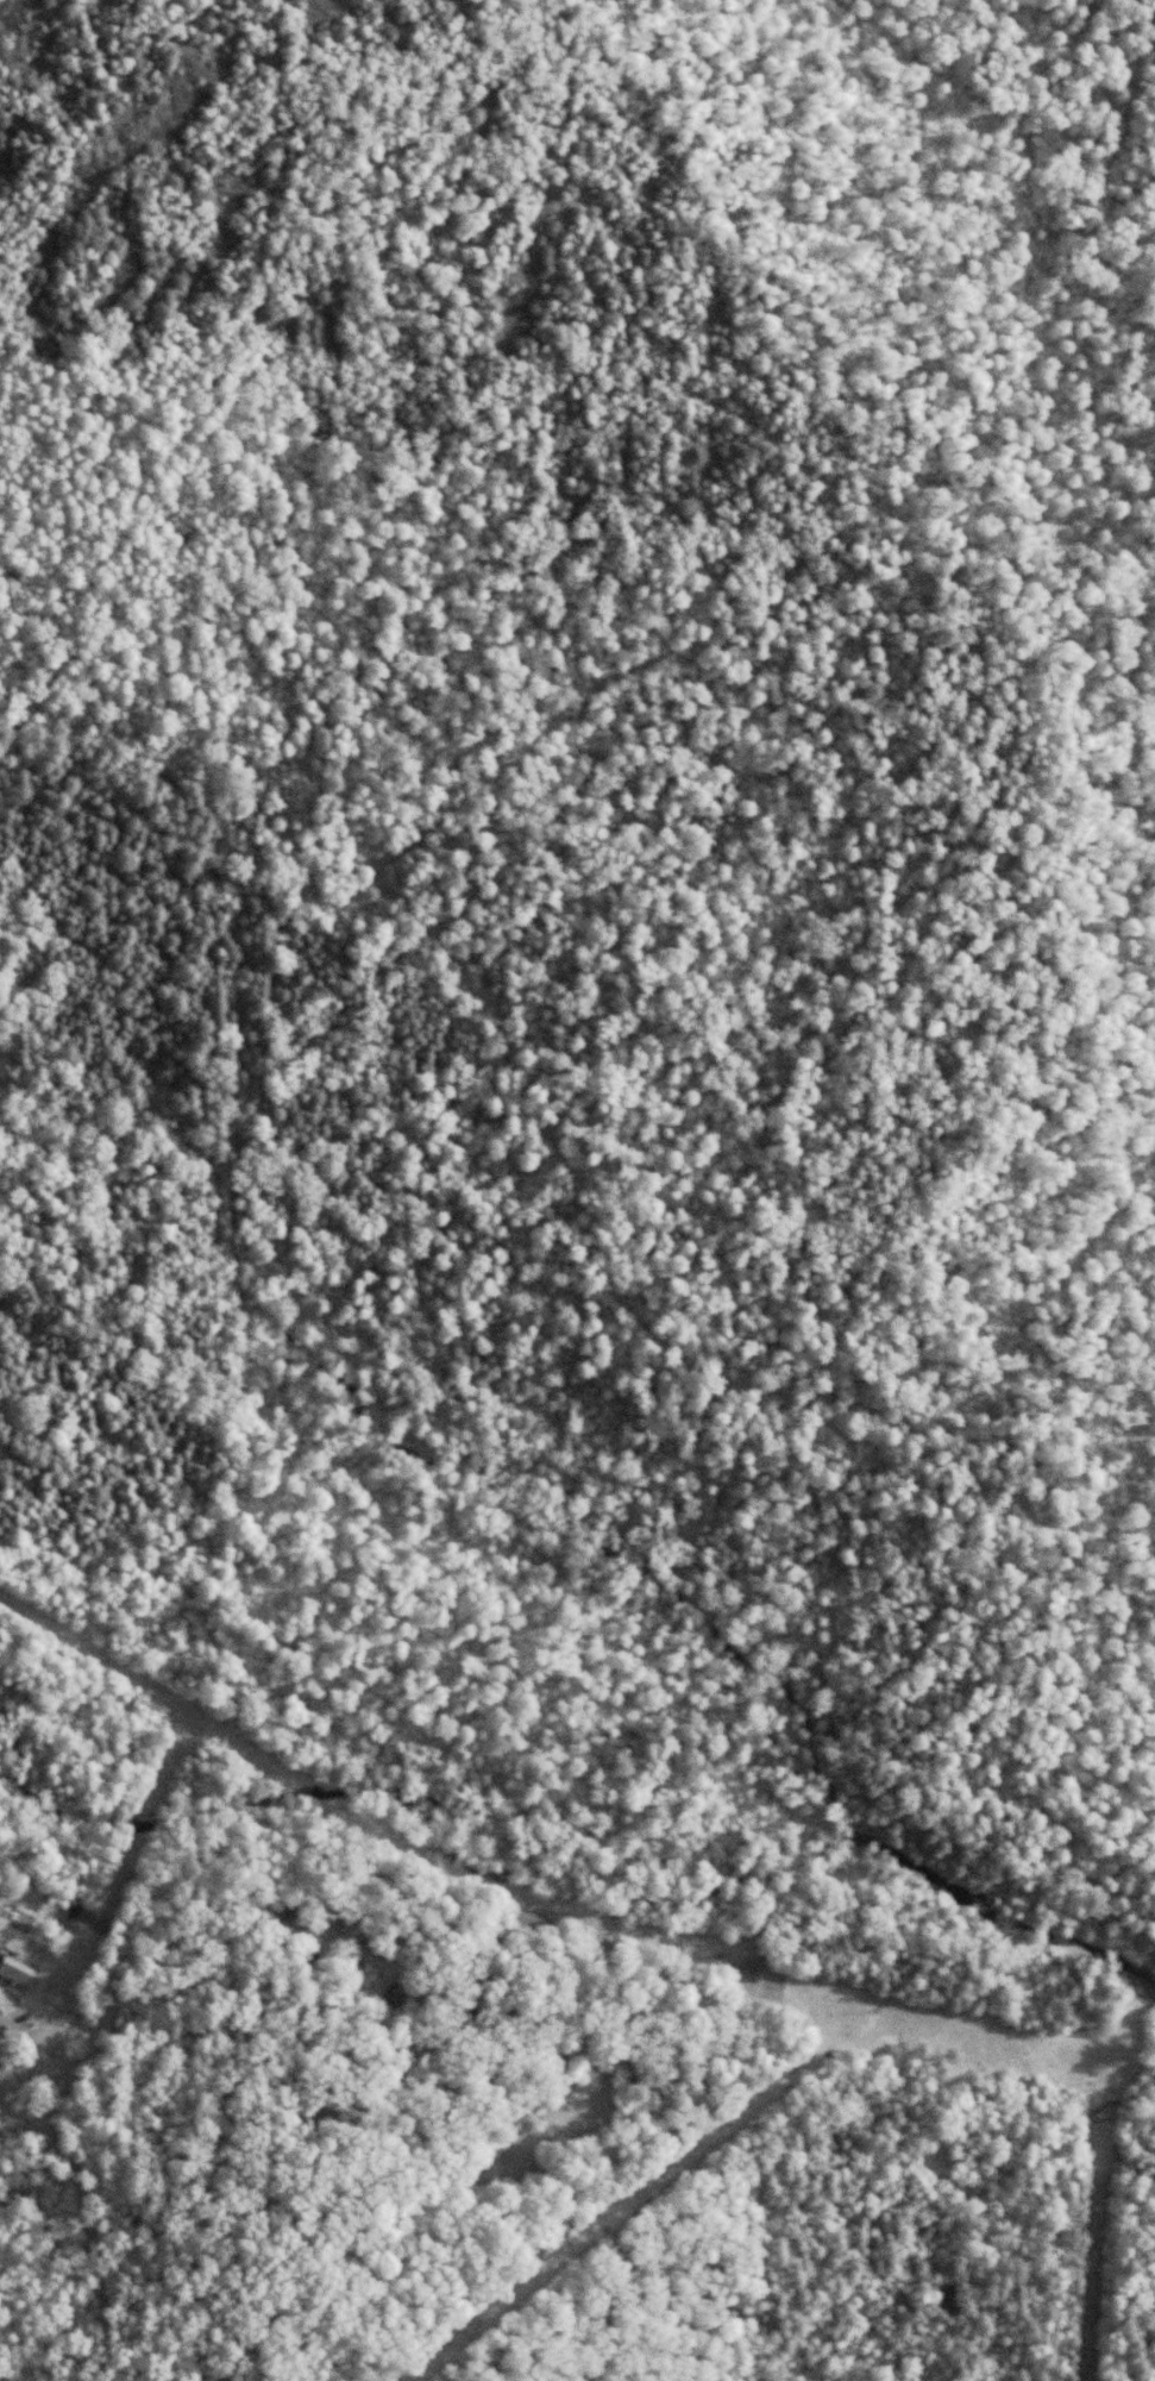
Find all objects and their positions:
road: (275, 1881)
building: (19, 1970)
road: (107, 2191)
road: (836, 2298)

